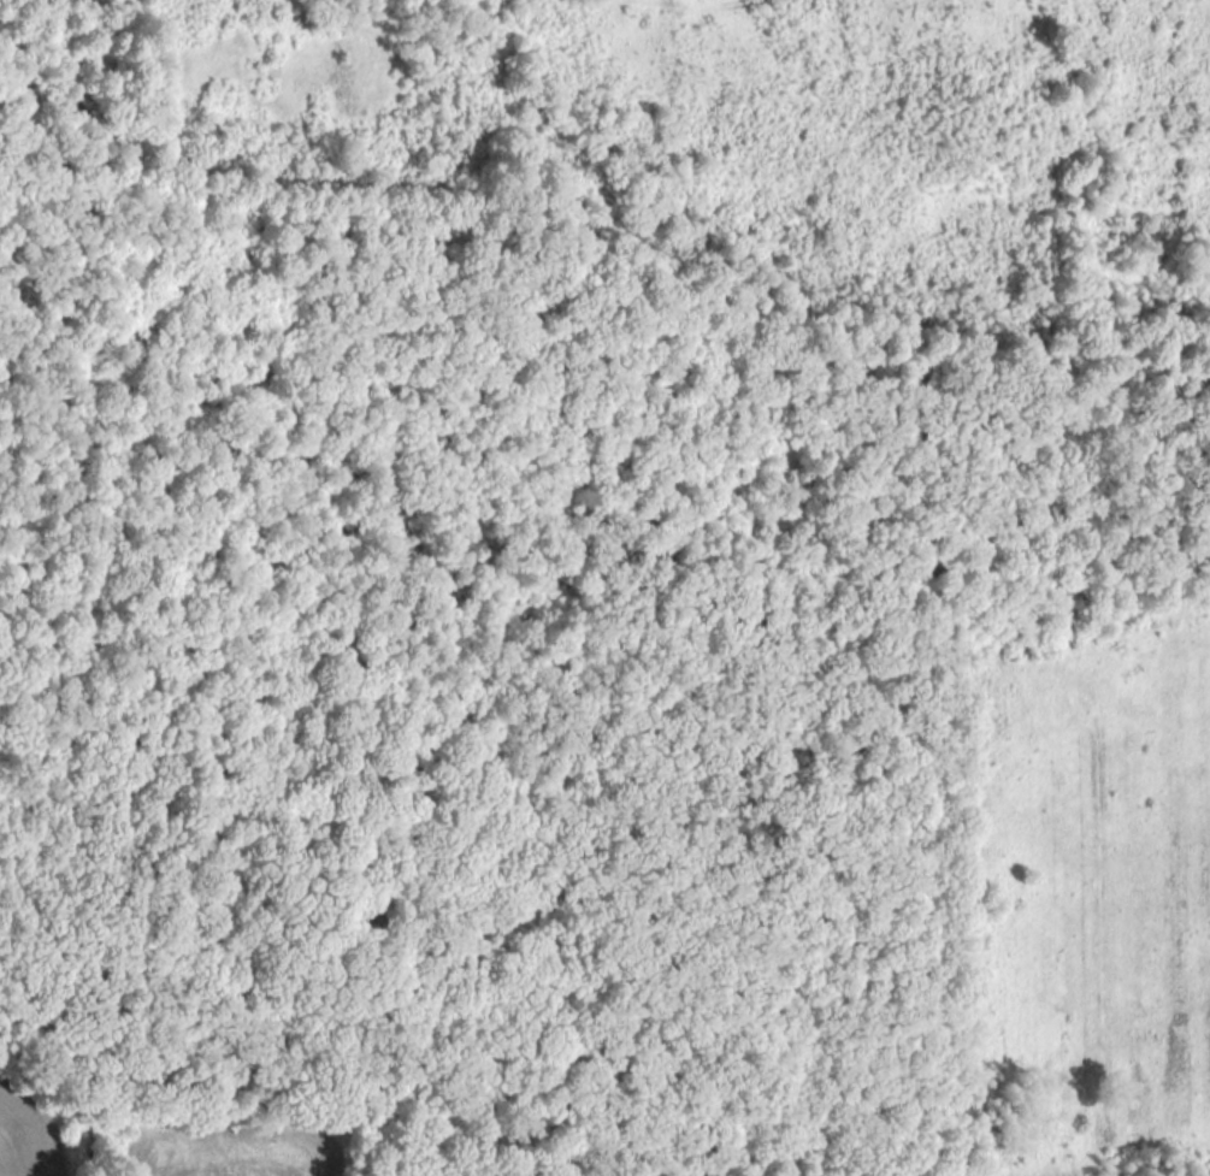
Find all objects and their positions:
crop: (24, 1125)
crop: (234, 1152)

